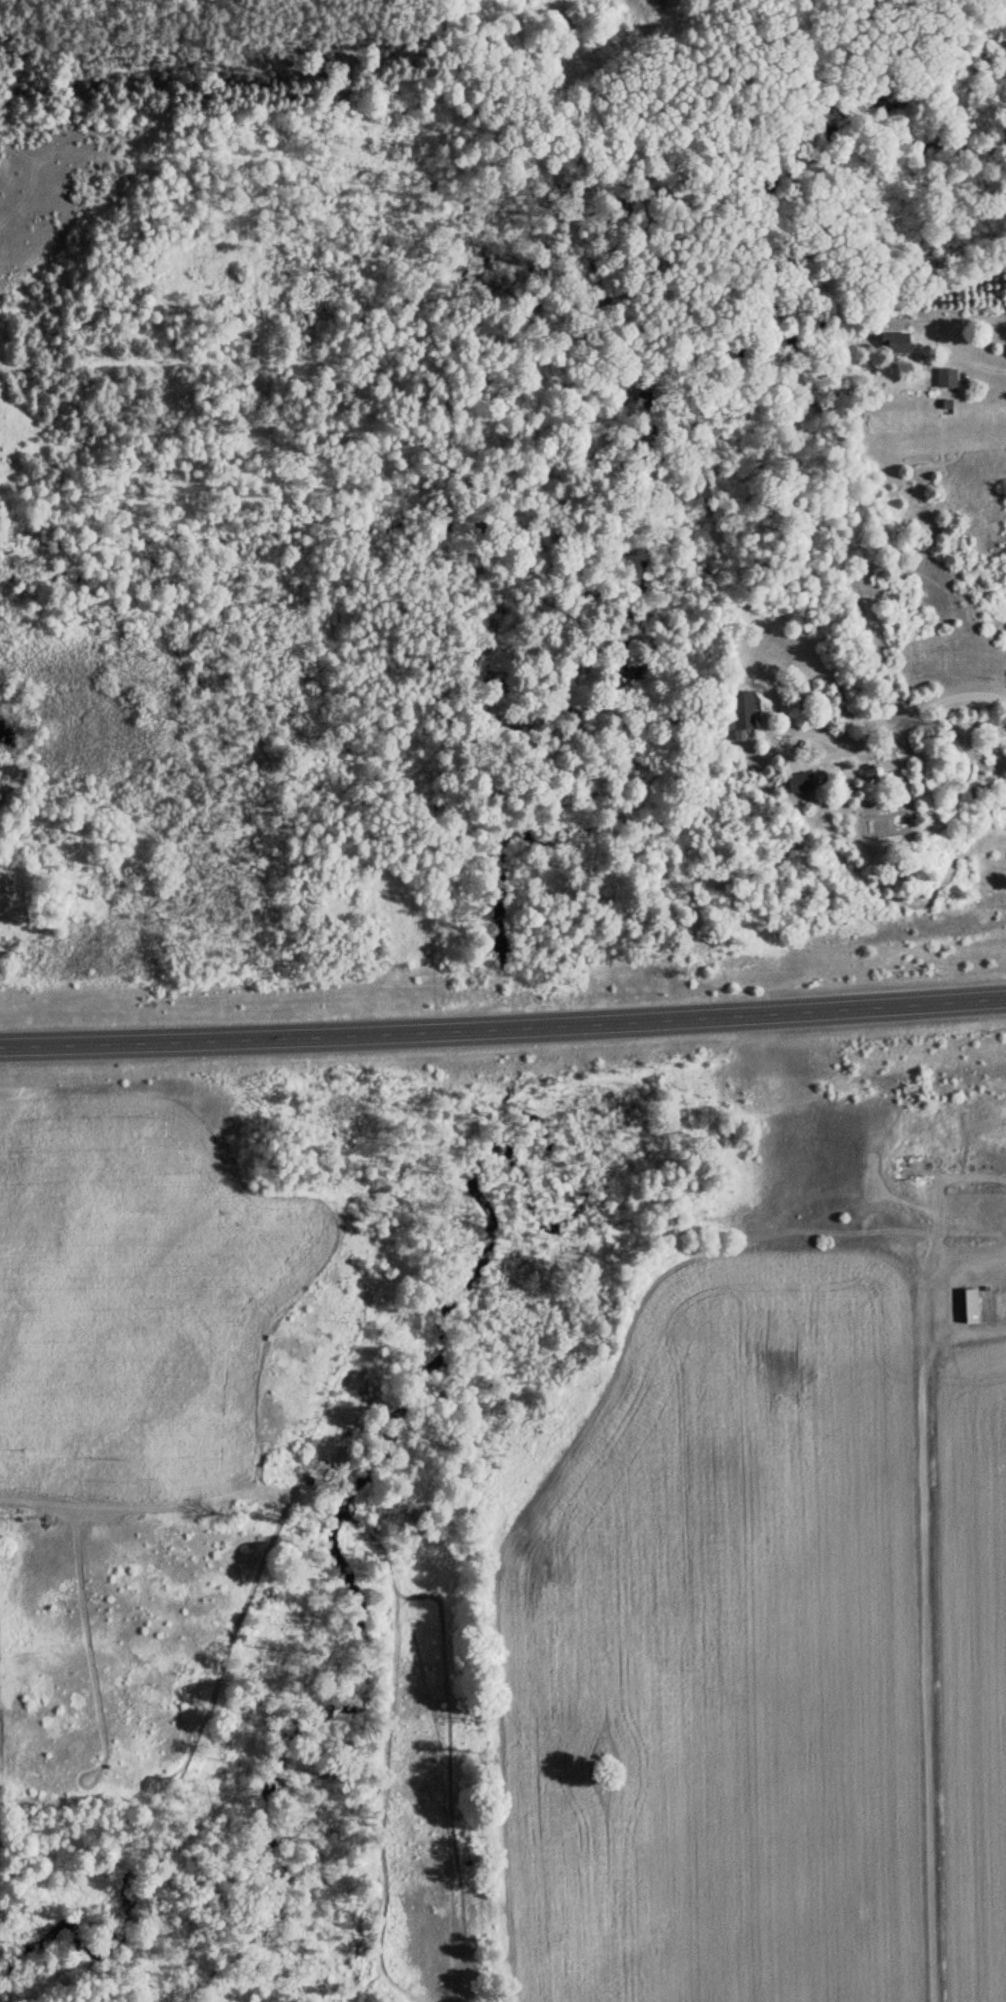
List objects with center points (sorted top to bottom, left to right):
road: (218, 75)
road: (78, 184)
road: (590, 273)
road: (257, 319)
building: (892, 343)
building: (943, 376)
building: (738, 709)
building: (797, 782)
road: (503, 1026)
building: (967, 1304)
crop: (724, 1649)
crop: (970, 1670)

